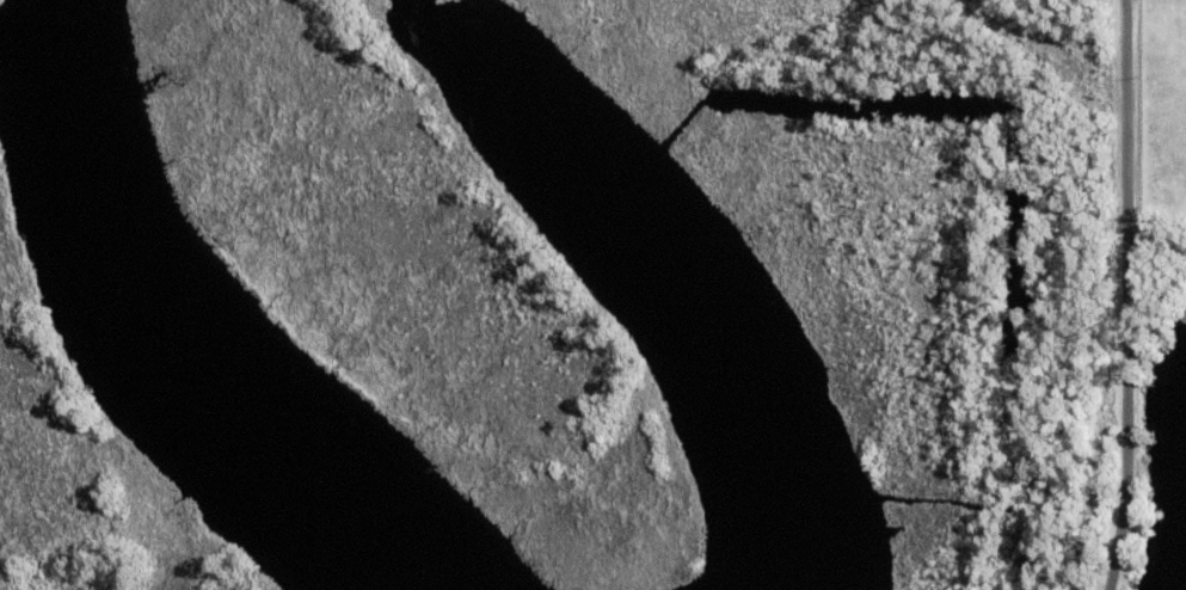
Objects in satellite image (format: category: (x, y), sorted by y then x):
road: (1126, 295)

